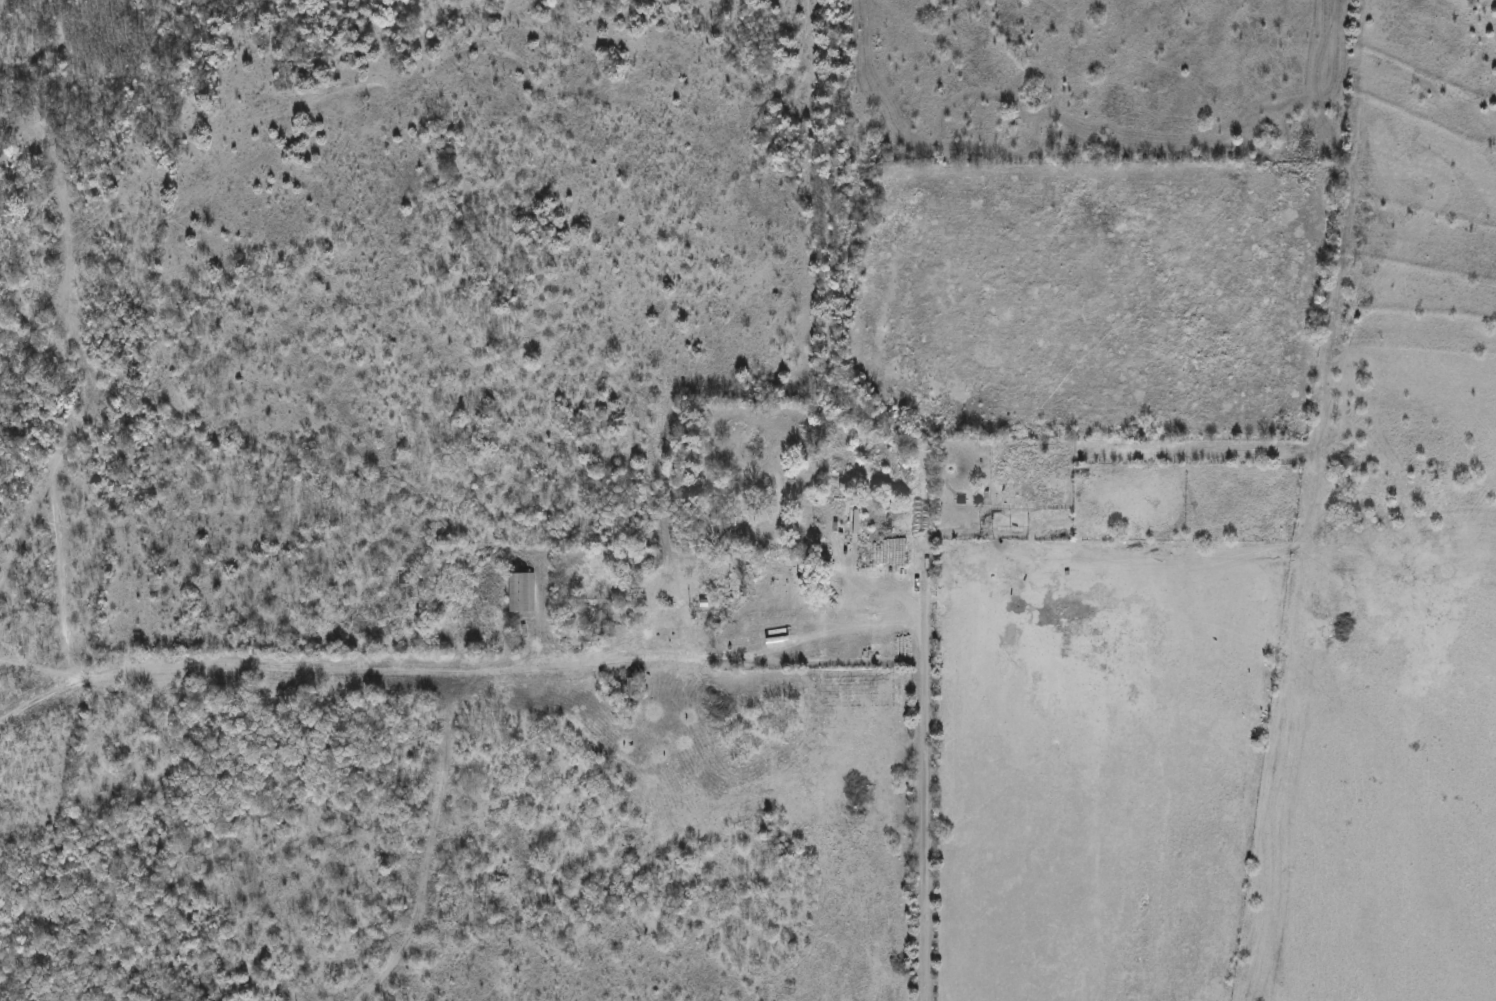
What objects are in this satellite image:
building: (40, 281)
building: (838, 485)
building: (1031, 487)
building: (845, 527)
building: (651, 558)
building: (777, 586)
building: (522, 593)
road: (456, 663)
road: (923, 743)

